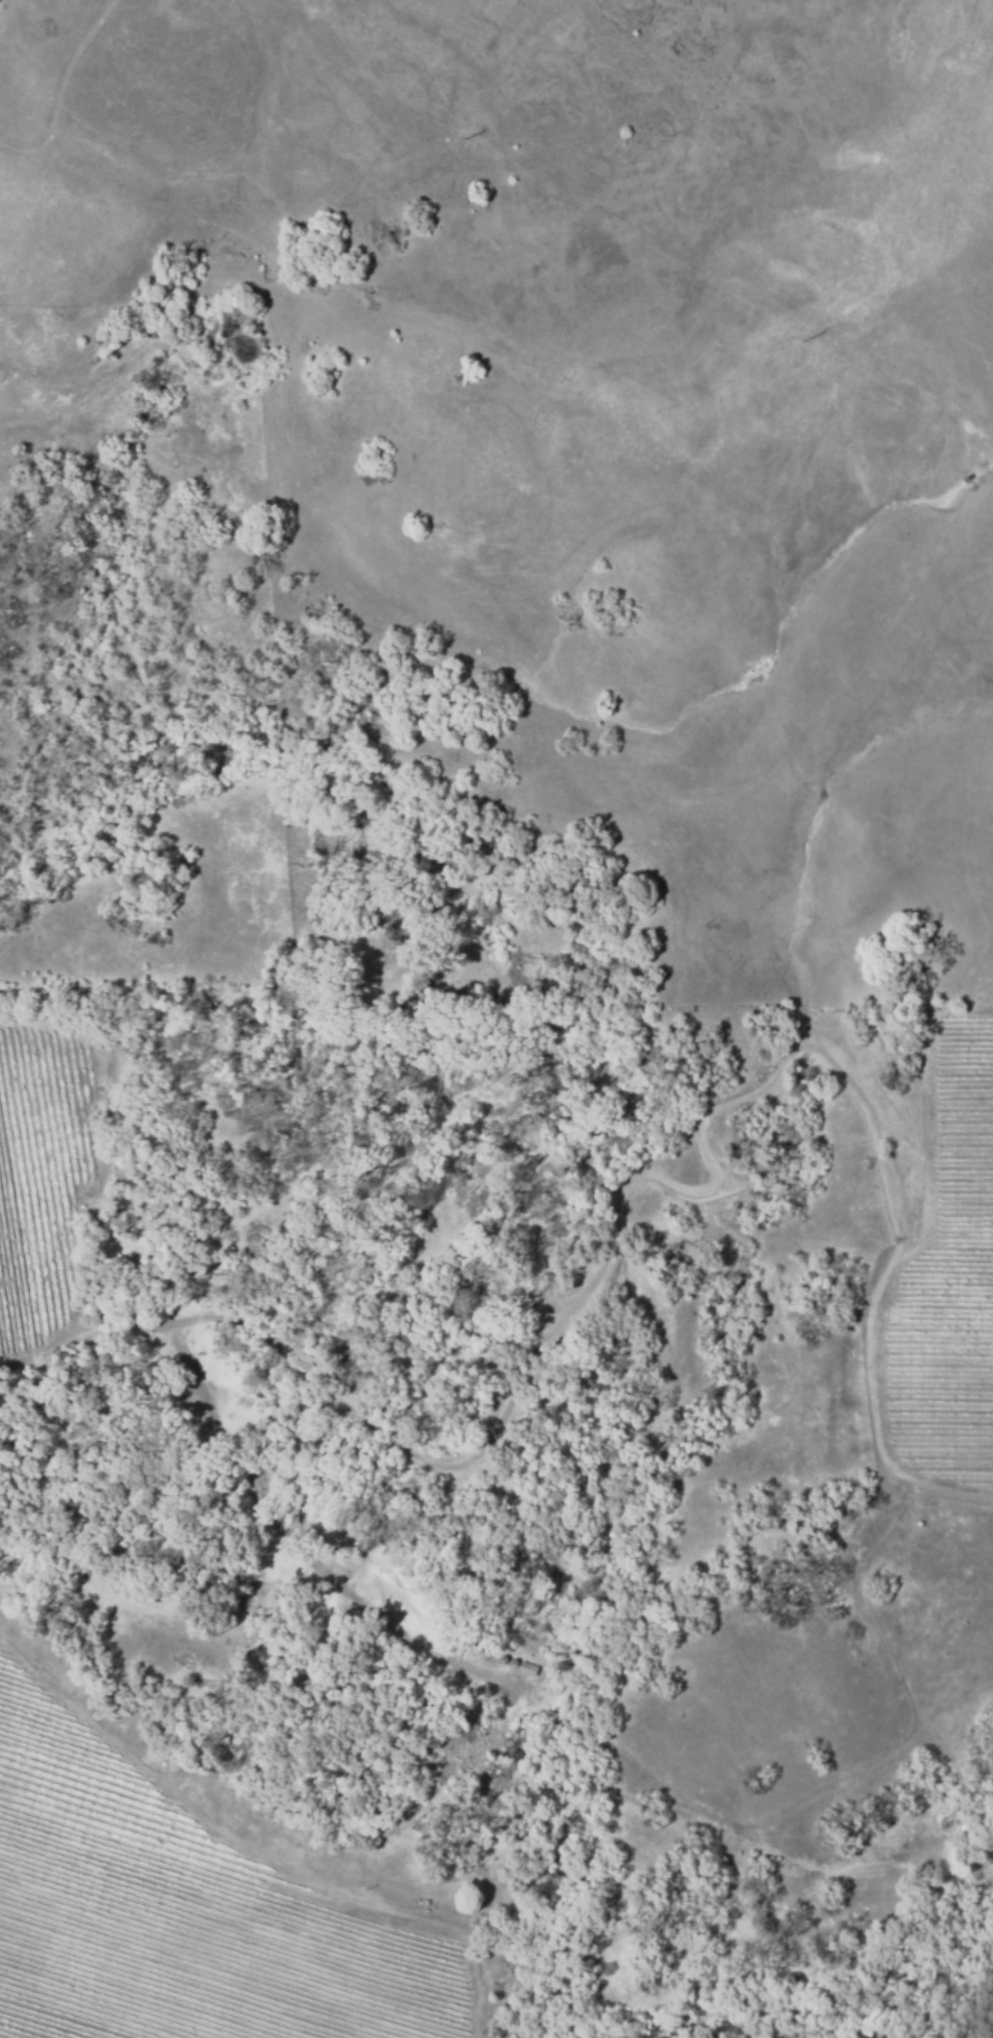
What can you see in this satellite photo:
building: (523, 1668)

